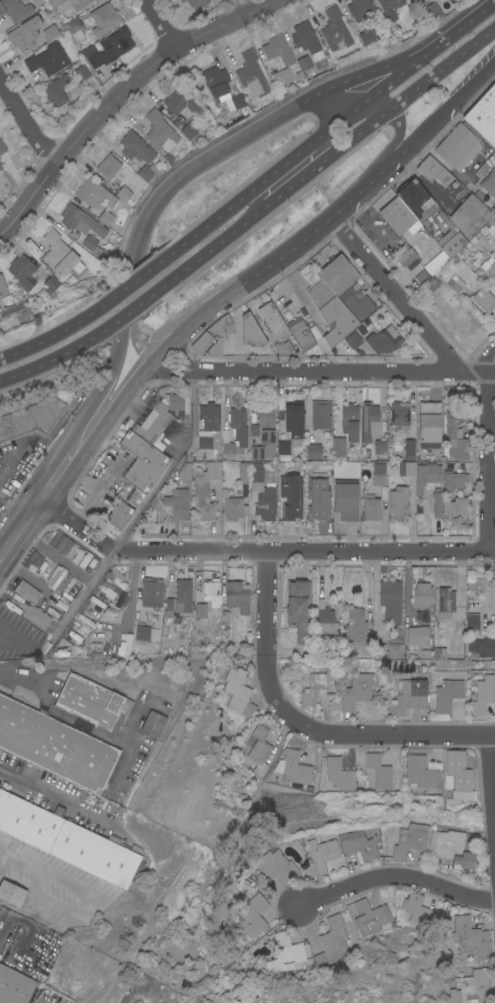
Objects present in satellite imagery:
building: (95, 0)
building: (181, 0)
building: (457, 0)
building: (55, 2)
building: (77, 3)
building: (196, 3)
building: (389, 7)
building: (359, 8)
building: (14, 9)
building: (432, 10)
building: (103, 18)
road: (158, 24)
road: (454, 28)
building: (73, 29)
building: (334, 29)
building: (50, 31)
building: (24, 33)
building: (368, 34)
building: (305, 40)
building: (111, 47)
building: (276, 50)
building: (47, 59)
building: (303, 62)
building: (81, 72)
road: (438, 72)
building: (251, 74)
building: (280, 76)
building: (297, 76)
road: (390, 78)
building: (215, 81)
building: (55, 89)
road: (119, 95)
building: (180, 101)
building: (234, 101)
road: (322, 104)
road: (449, 105)
building: (483, 115)
road: (27, 122)
building: (190, 128)
building: (158, 130)
road: (397, 140)
road: (331, 145)
building: (458, 145)
building: (135, 146)
building: (2, 147)
road: (215, 151)
road: (390, 164)
building: (107, 166)
building: (0, 167)
building: (0, 169)
building: (433, 169)
building: (481, 169)
building: (147, 172)
building: (488, 183)
building: (122, 192)
building: (93, 194)
building: (479, 195)
building: (416, 200)
building: (397, 215)
building: (469, 215)
road: (222, 216)
building: (105, 217)
building: (80, 220)
building: (494, 226)
road: (221, 239)
building: (452, 244)
building: (91, 245)
building: (58, 253)
building: (406, 256)
building: (412, 267)
building: (488, 267)
building: (22, 271)
building: (50, 283)
building: (454, 283)
building: (428, 285)
road: (117, 295)
building: (330, 295)
road: (398, 295)
building: (5, 296)
building: (483, 299)
building: (355, 301)
road: (118, 318)
building: (272, 320)
building: (225, 326)
building: (250, 331)
building: (300, 332)
building: (219, 334)
building: (352, 339)
building: (382, 341)
building: (200, 342)
road: (33, 344)
building: (281, 347)
road: (164, 351)
road: (134, 355)
road: (183, 359)
road: (481, 361)
road: (40, 363)
road: (320, 373)
road: (95, 397)
building: (174, 401)
building: (398, 412)
building: (320, 414)
building: (34, 415)
building: (349, 421)
building: (369, 421)
building: (152, 422)
building: (293, 422)
building: (206, 423)
building: (428, 424)
building: (235, 431)
building: (264, 431)
building: (454, 438)
building: (338, 446)
building: (379, 446)
building: (408, 447)
building: (282, 449)
building: (313, 451)
road: (486, 456)
road: (10, 458)
building: (141, 461)
building: (212, 470)
road: (43, 471)
building: (242, 472)
building: (184, 473)
building: (423, 475)
building: (256, 478)
building: (378, 479)
building: (453, 479)
road: (96, 491)
building: (133, 496)
building: (290, 496)
building: (201, 499)
building: (317, 499)
building: (345, 499)
building: (397, 501)
building: (177, 502)
building: (265, 503)
building: (436, 503)
road: (6, 507)
building: (370, 507)
building: (234, 508)
building: (455, 509)
road: (138, 511)
road: (13, 513)
building: (118, 514)
building: (68, 550)
road: (252, 552)
building: (30, 561)
building: (57, 578)
building: (115, 578)
building: (150, 591)
road: (129, 594)
building: (421, 594)
building: (182, 595)
building: (237, 595)
building: (207, 596)
building: (389, 600)
building: (494, 600)
building: (444, 602)
building: (31, 604)
building: (168, 608)
building: (297, 608)
building: (224, 620)
building: (325, 621)
building: (471, 621)
building: (355, 624)
building: (141, 632)
building: (417, 635)
building: (481, 646)
building: (386, 649)
building: (438, 653)
building: (313, 686)
building: (355, 690)
building: (236, 691)
building: (446, 694)
building: (483, 694)
building: (409, 696)
building: (91, 702)
building: (153, 723)
road: (80, 724)
road: (305, 726)
building: (55, 745)
building: (258, 749)
building: (292, 767)
building: (378, 770)
road: (492, 771)
building: (418, 772)
building: (338, 773)
building: (458, 775)
road: (58, 799)
building: (29, 821)
building: (408, 840)
building: (356, 845)
building: (450, 847)
building: (94, 853)
building: (318, 855)
road: (17, 862)
building: (272, 866)
road: (396, 879)
building: (11, 892)
building: (415, 909)
road: (82, 913)
building: (250, 915)
building: (369, 917)
building: (469, 938)
building: (331, 941)
building: (286, 953)
building: (14, 985)
building: (467, 986)

